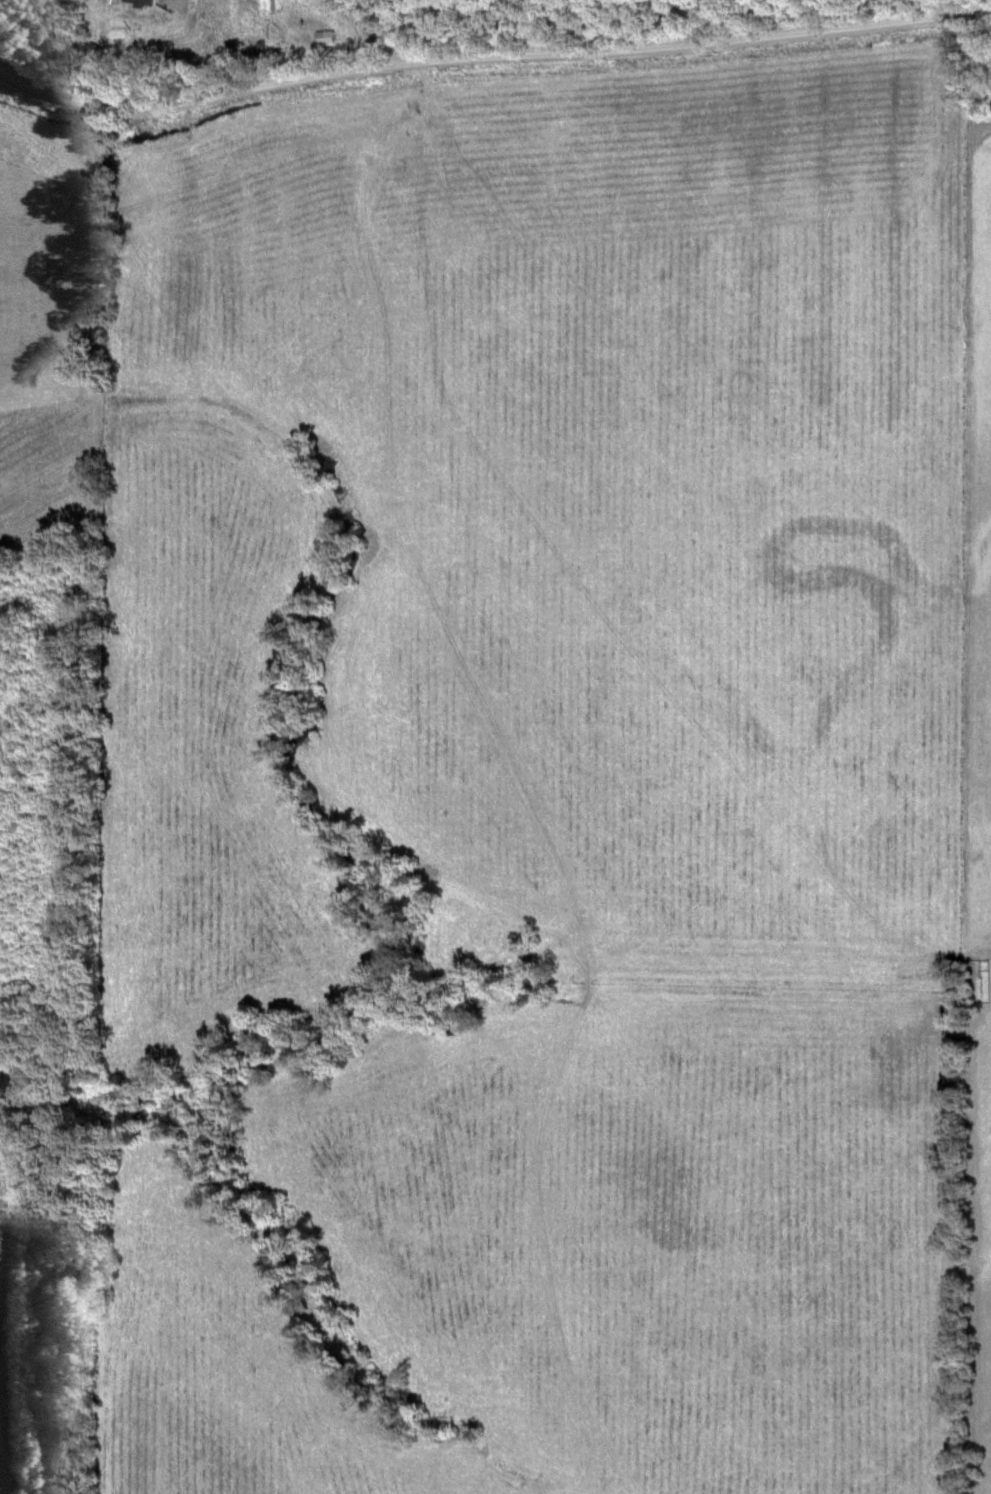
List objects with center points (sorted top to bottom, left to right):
building: (138, 2)
road: (371, 32)
building: (324, 38)
road: (489, 63)

